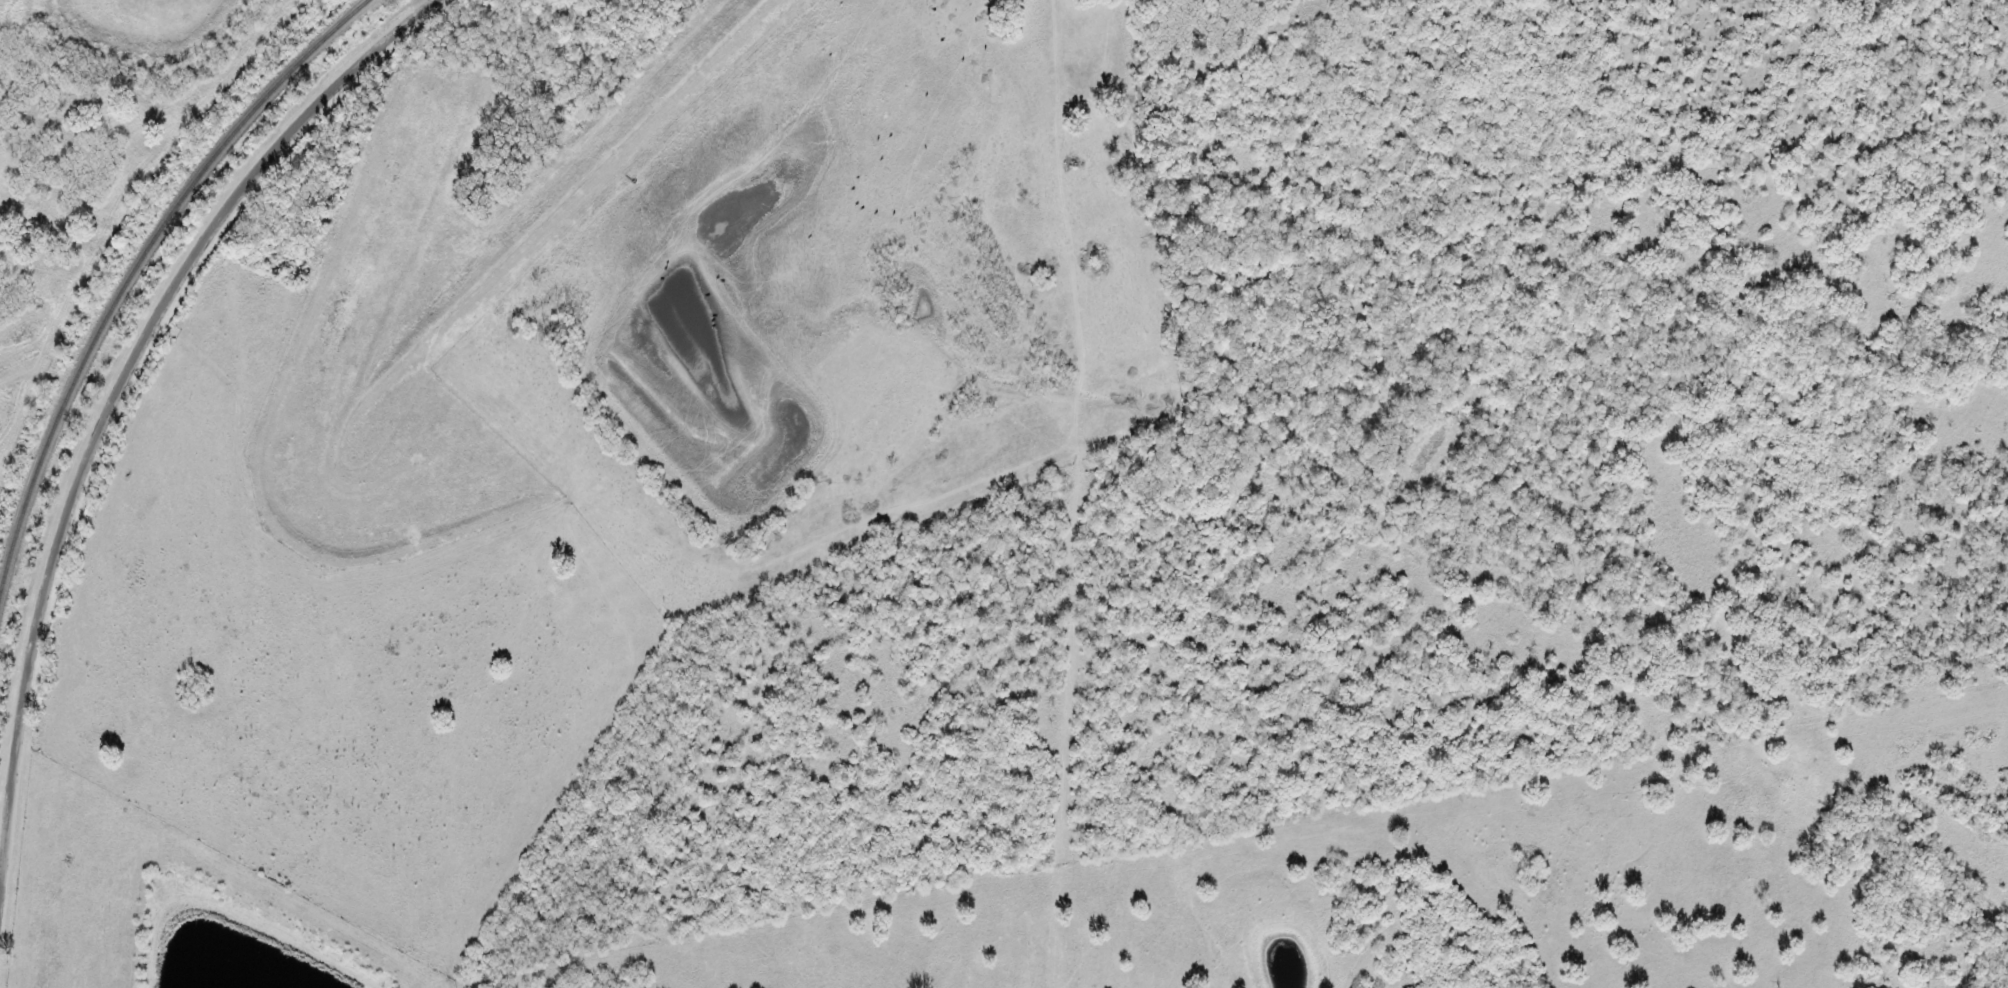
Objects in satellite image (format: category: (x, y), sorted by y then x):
railway: (137, 262)
road: (111, 409)
road: (1179, 522)
road: (200, 900)

